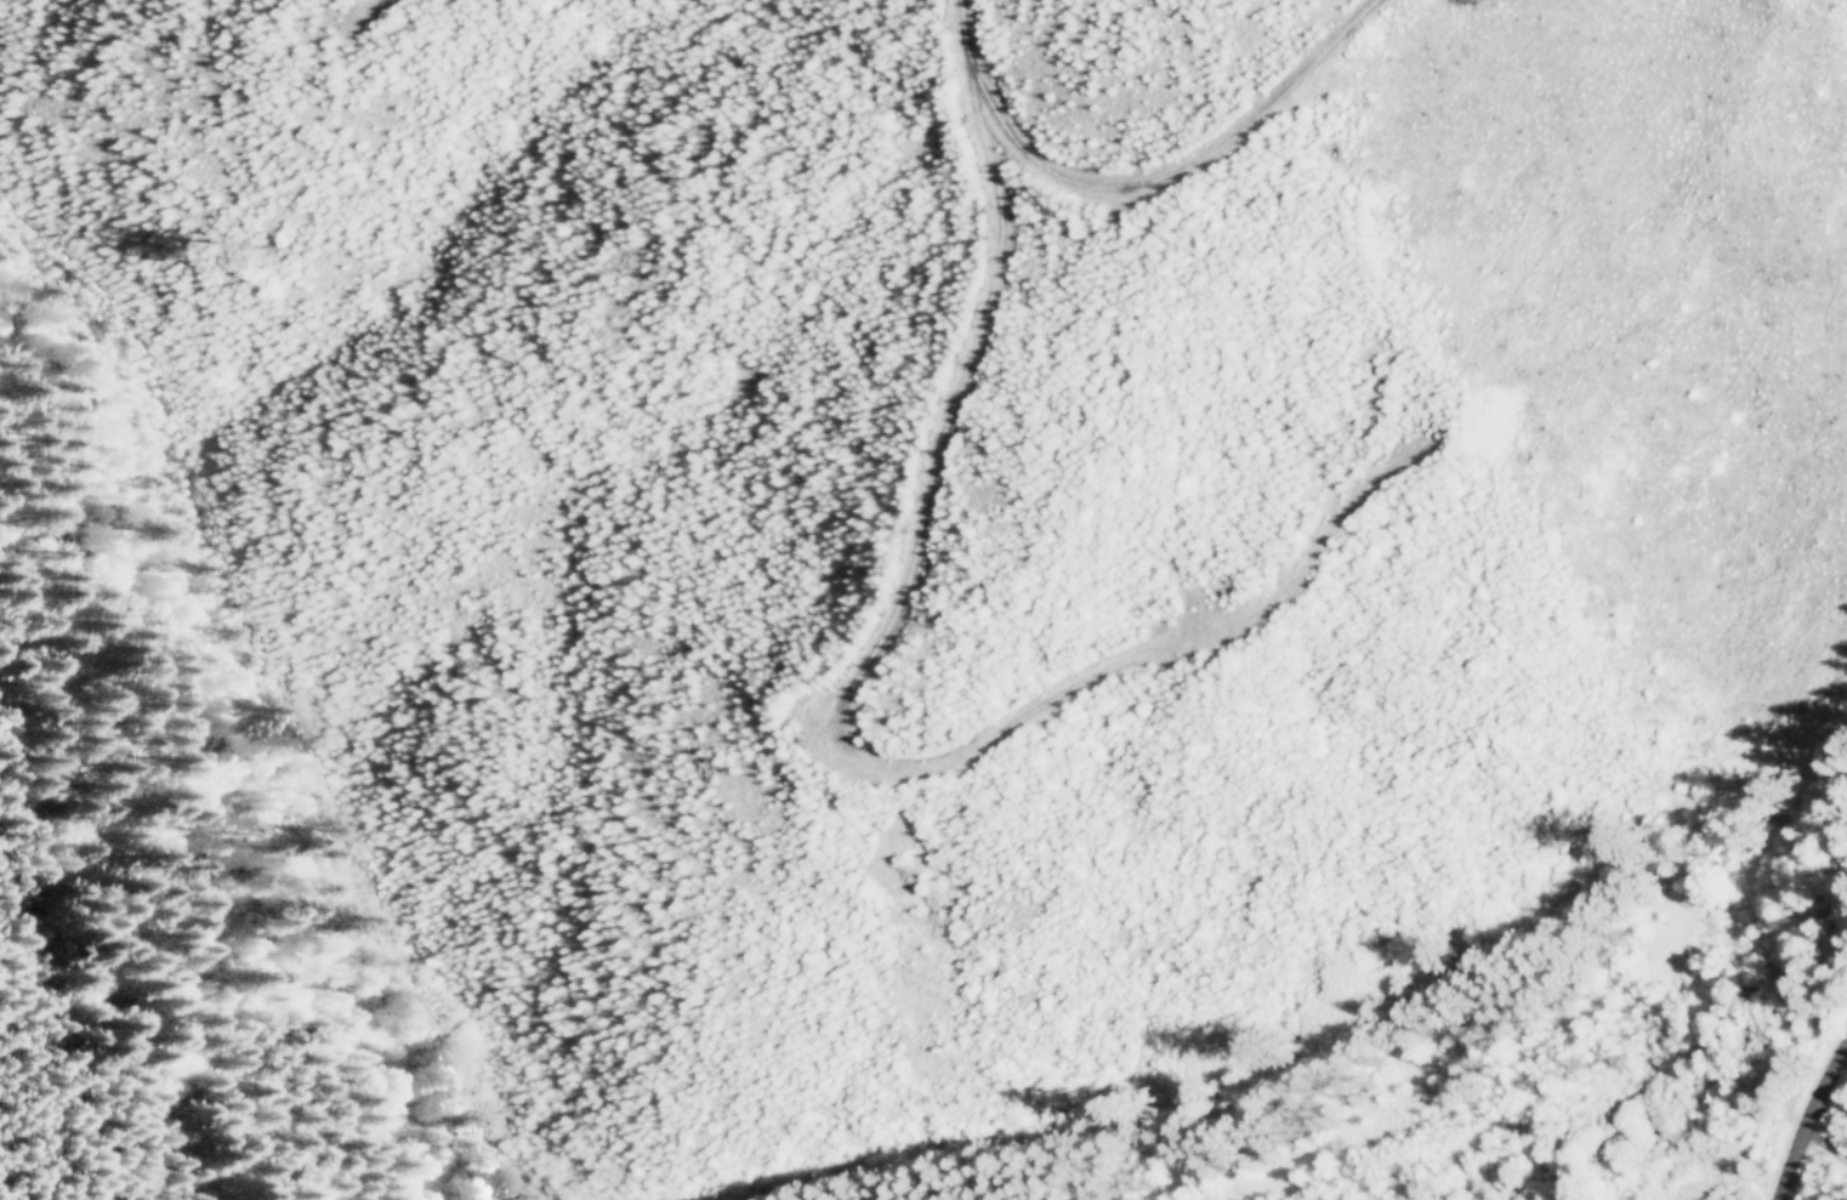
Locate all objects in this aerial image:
road: (1803, 1111)

